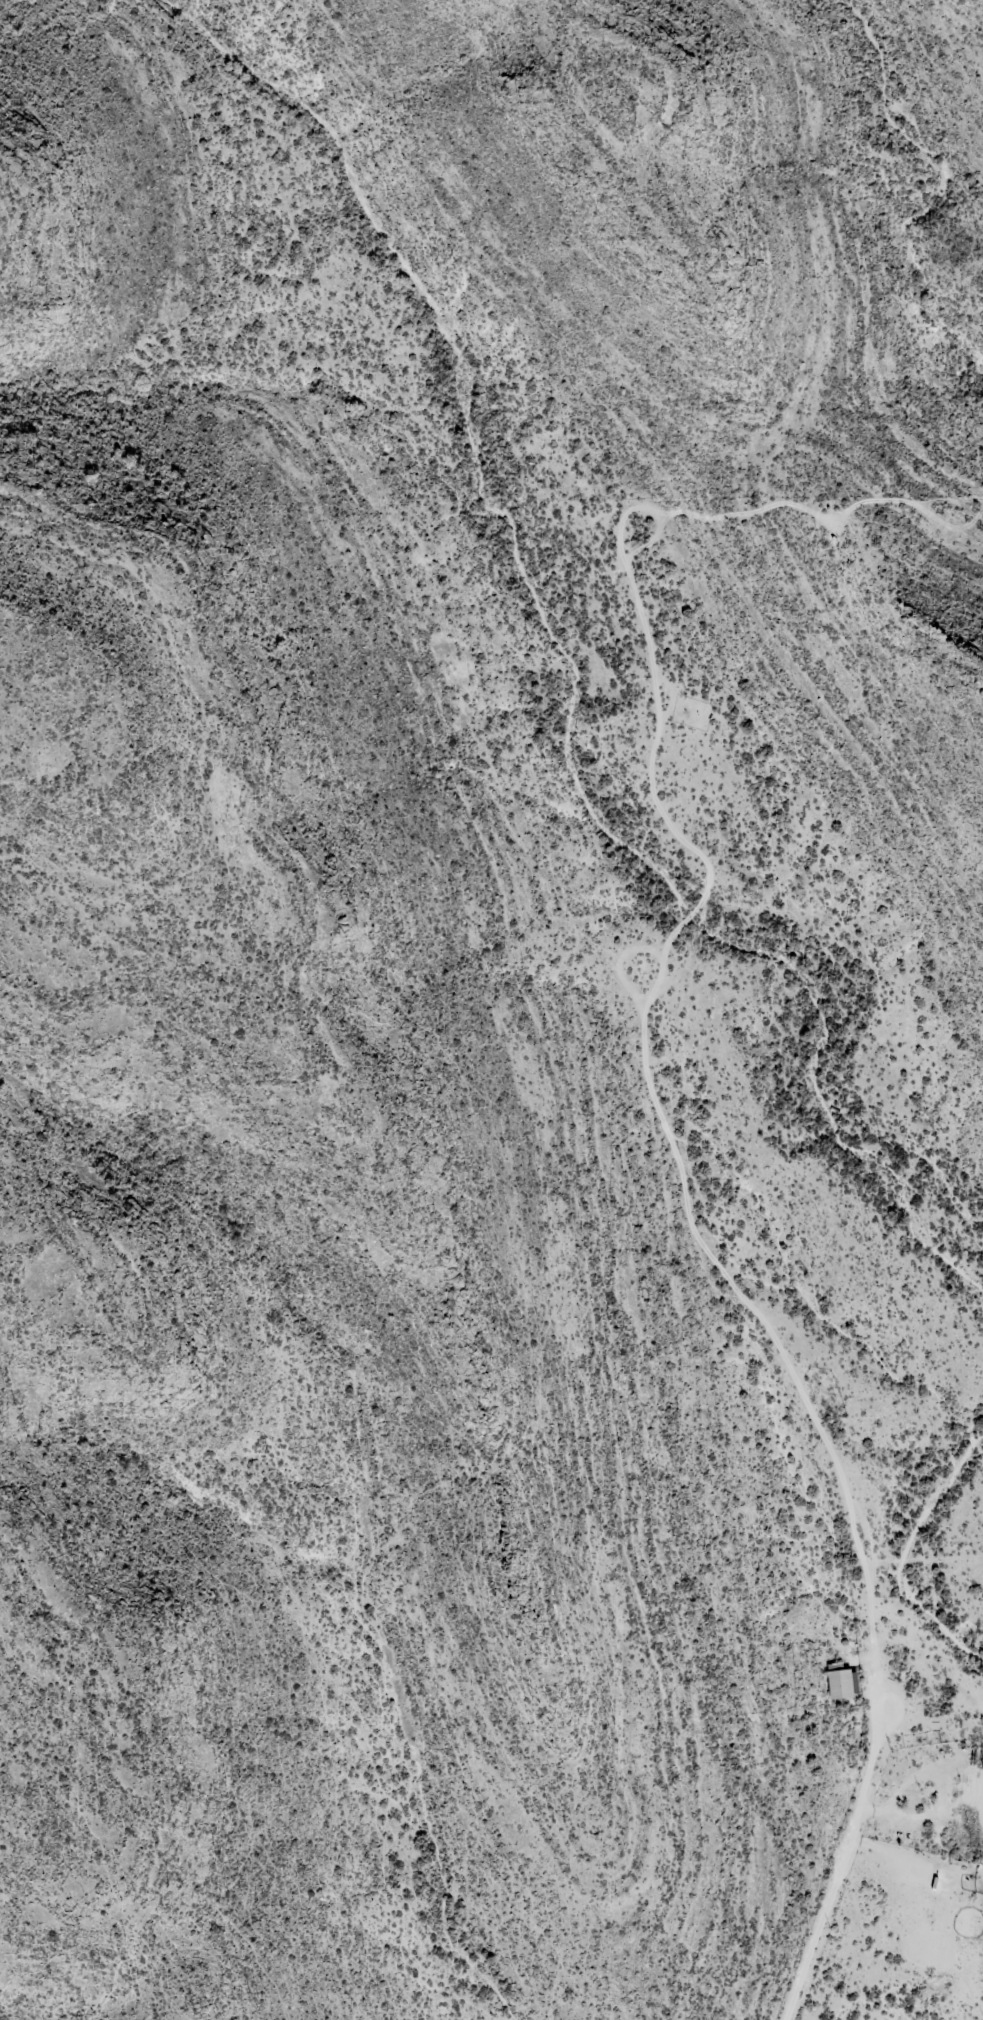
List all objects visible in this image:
building: (837, 1682)

